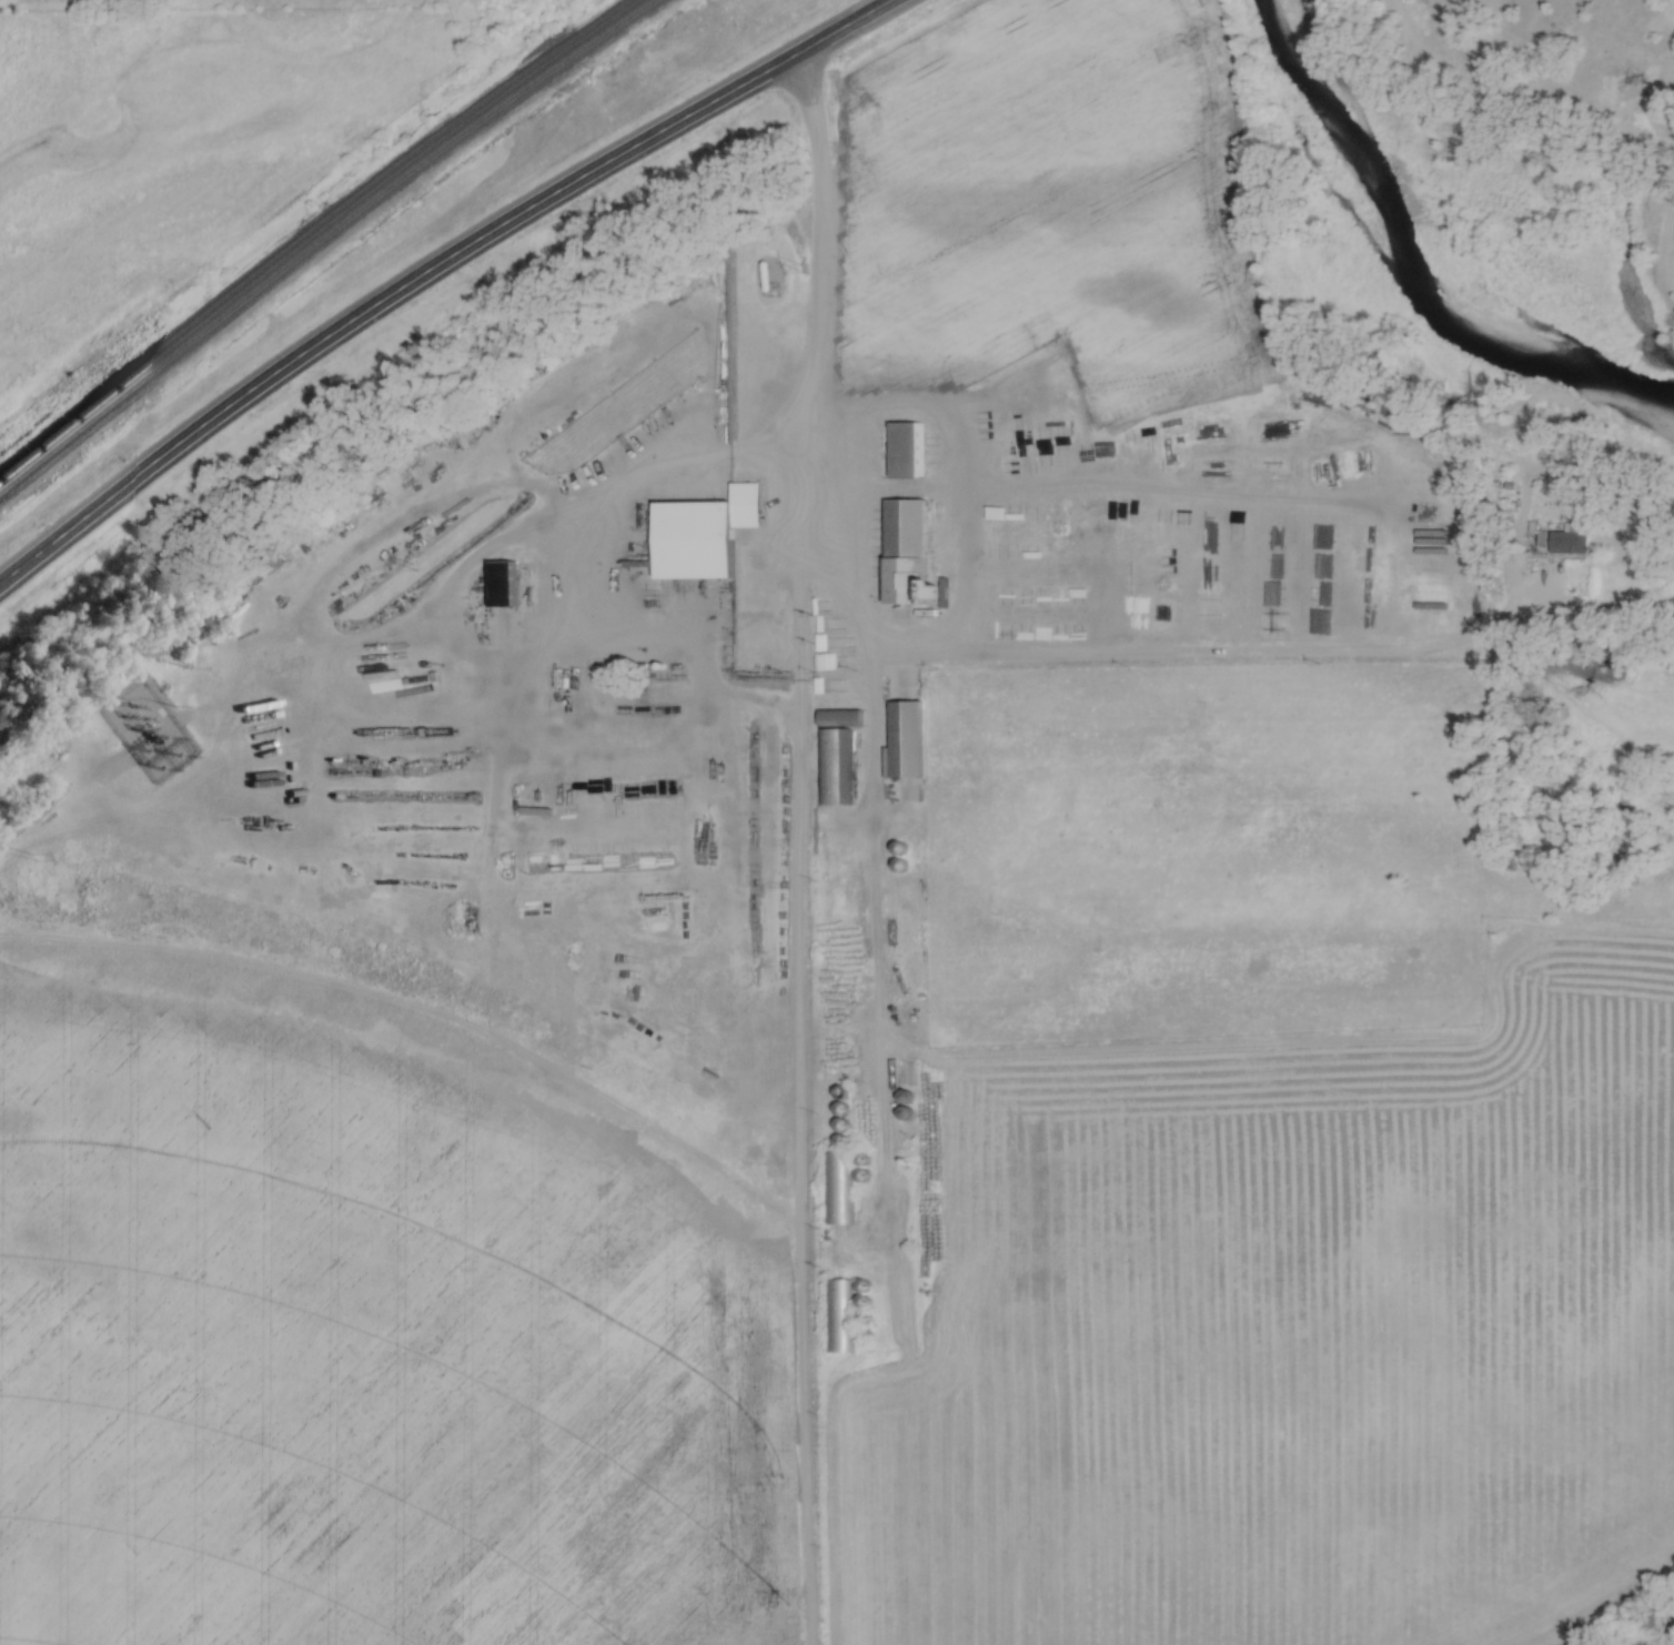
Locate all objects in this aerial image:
railway: (313, 233)
railway: (322, 239)
road: (431, 269)
building: (764, 277)
building: (904, 451)
road: (1129, 490)
building: (703, 535)
building: (1569, 541)
building: (906, 554)
road: (589, 557)
building: (1151, 557)
building: (1304, 578)
building: (498, 585)
building: (1370, 591)
road: (1129, 654)
building: (902, 739)
building: (833, 756)
road: (794, 849)
building: (840, 1126)
building: (839, 1142)
building: (836, 1189)
building: (837, 1315)

